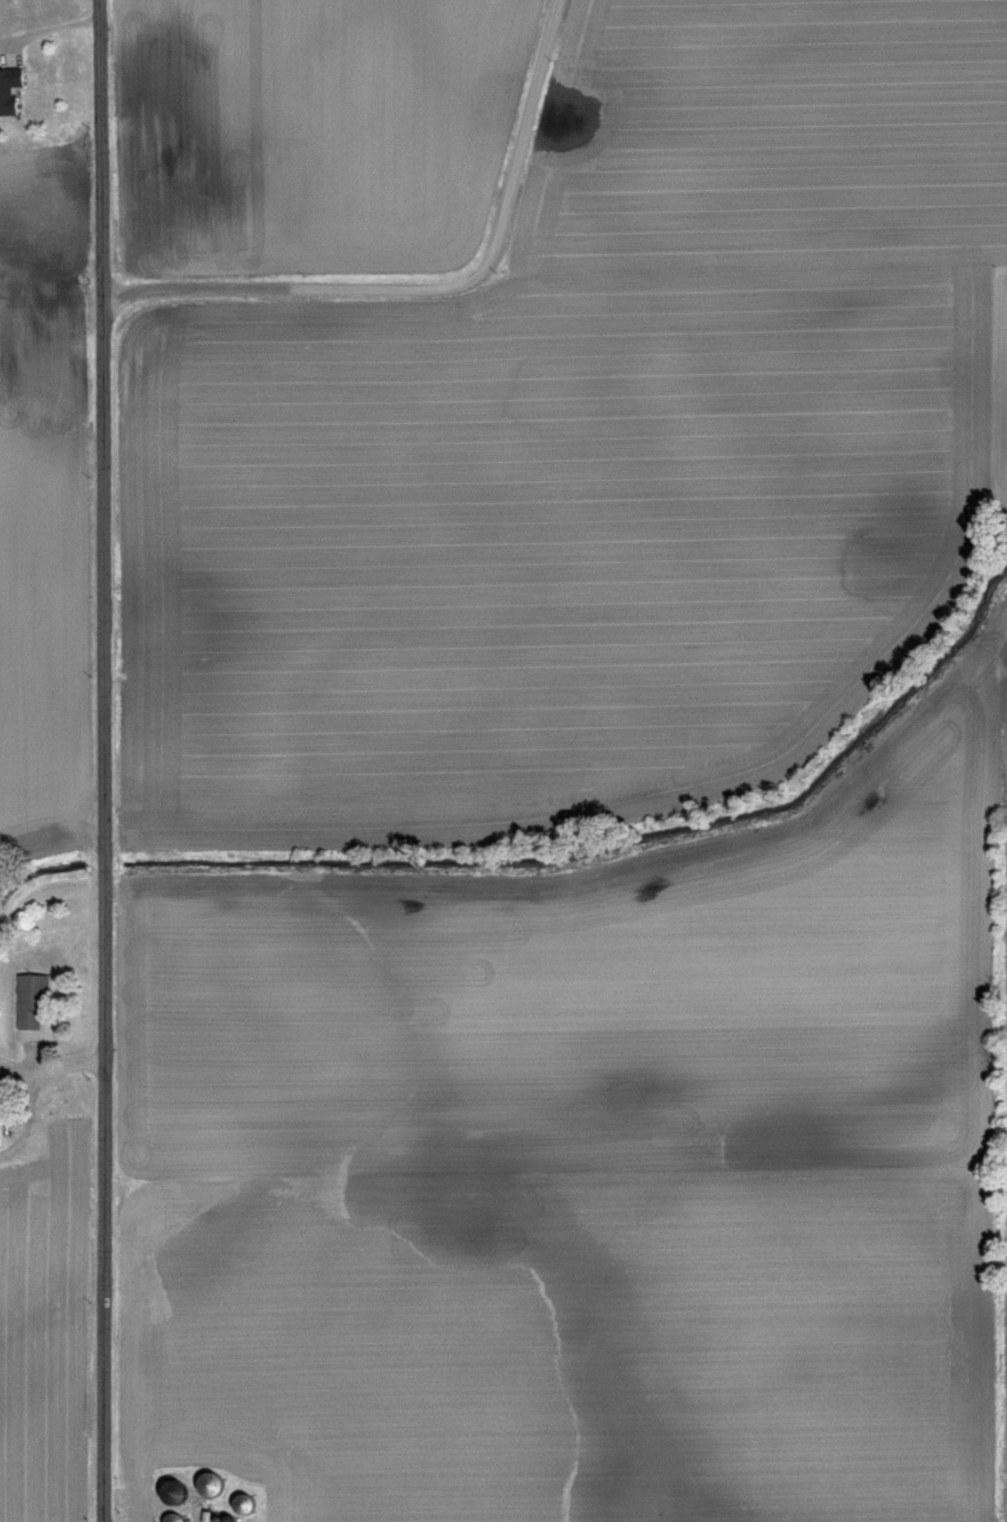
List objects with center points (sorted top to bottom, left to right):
road: (37, 31)
building: (8, 89)
road: (431, 288)
road: (99, 761)
building: (30, 1002)
road: (50, 1071)
building: (207, 1483)
building: (170, 1490)
building: (240, 1503)
building: (171, 1518)

